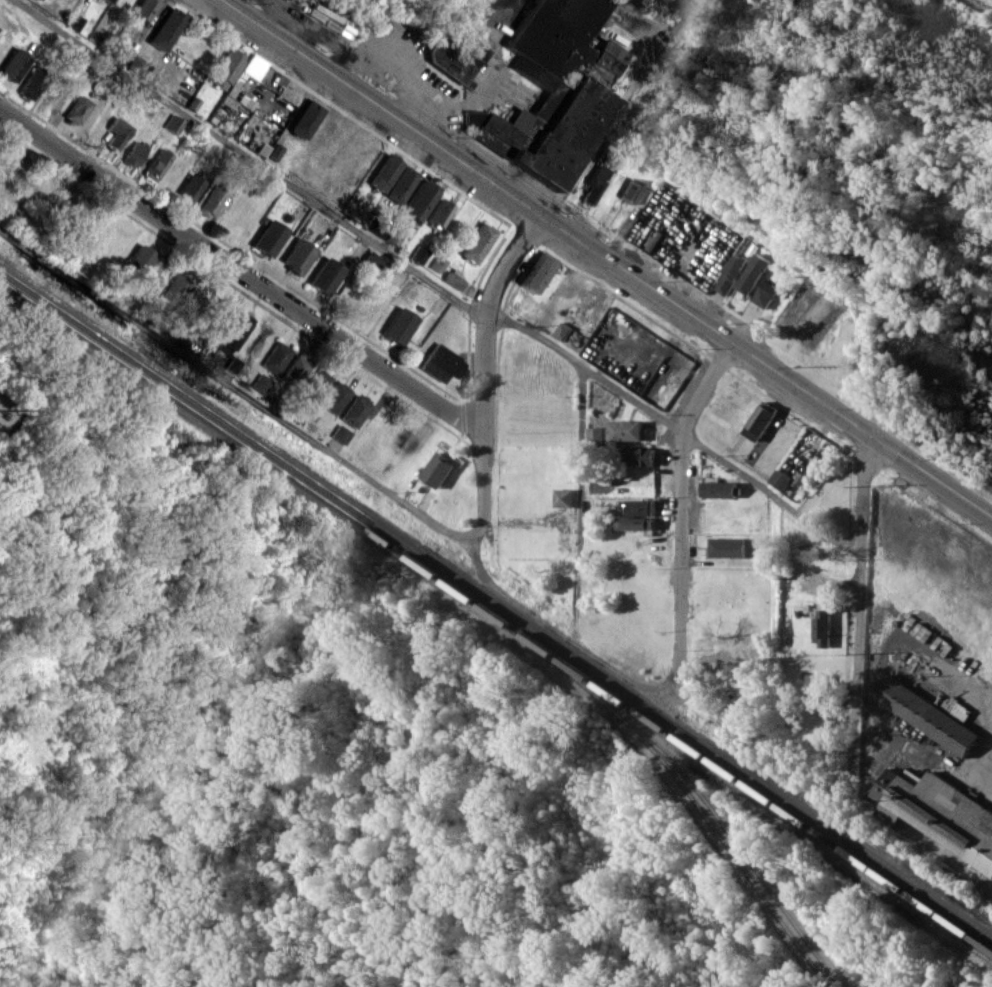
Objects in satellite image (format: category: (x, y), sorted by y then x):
building: (108, 0)
building: (145, 8)
building: (166, 28)
building: (456, 57)
building: (136, 63)
building: (14, 64)
road: (490, 66)
building: (226, 68)
building: (33, 82)
building: (552, 91)
building: (78, 109)
road: (437, 109)
building: (306, 119)
building: (174, 123)
building: (117, 132)
road: (593, 146)
building: (135, 153)
building: (157, 165)
building: (393, 178)
building: (594, 184)
building: (190, 188)
building: (629, 190)
building: (212, 199)
building: (419, 200)
building: (439, 212)
building: (394, 232)
building: (269, 237)
building: (478, 242)
building: (419, 253)
building: (298, 255)
road: (607, 258)
building: (140, 260)
building: (373, 260)
building: (438, 263)
road: (241, 270)
building: (537, 271)
building: (729, 273)
building: (751, 273)
building: (326, 275)
building: (454, 279)
road: (434, 283)
building: (178, 288)
building: (763, 293)
building: (223, 309)
building: (399, 325)
building: (236, 330)
building: (276, 356)
road: (484, 361)
building: (442, 363)
building: (233, 364)
building: (296, 371)
building: (262, 382)
building: (317, 384)
road: (240, 391)
building: (336, 397)
building: (356, 410)
building: (758, 422)
building: (625, 430)
building: (341, 433)
building: (595, 434)
building: (638, 455)
building: (437, 469)
building: (780, 479)
building: (718, 489)
building: (562, 497)
road: (680, 502)
building: (636, 506)
road: (580, 519)
building: (635, 523)
building: (726, 547)
railway: (495, 605)
road: (858, 611)
railway: (496, 614)
building: (822, 627)
building: (818, 684)
building: (926, 715)
building: (991, 756)
railway: (691, 783)
building: (938, 813)
railway: (719, 837)

